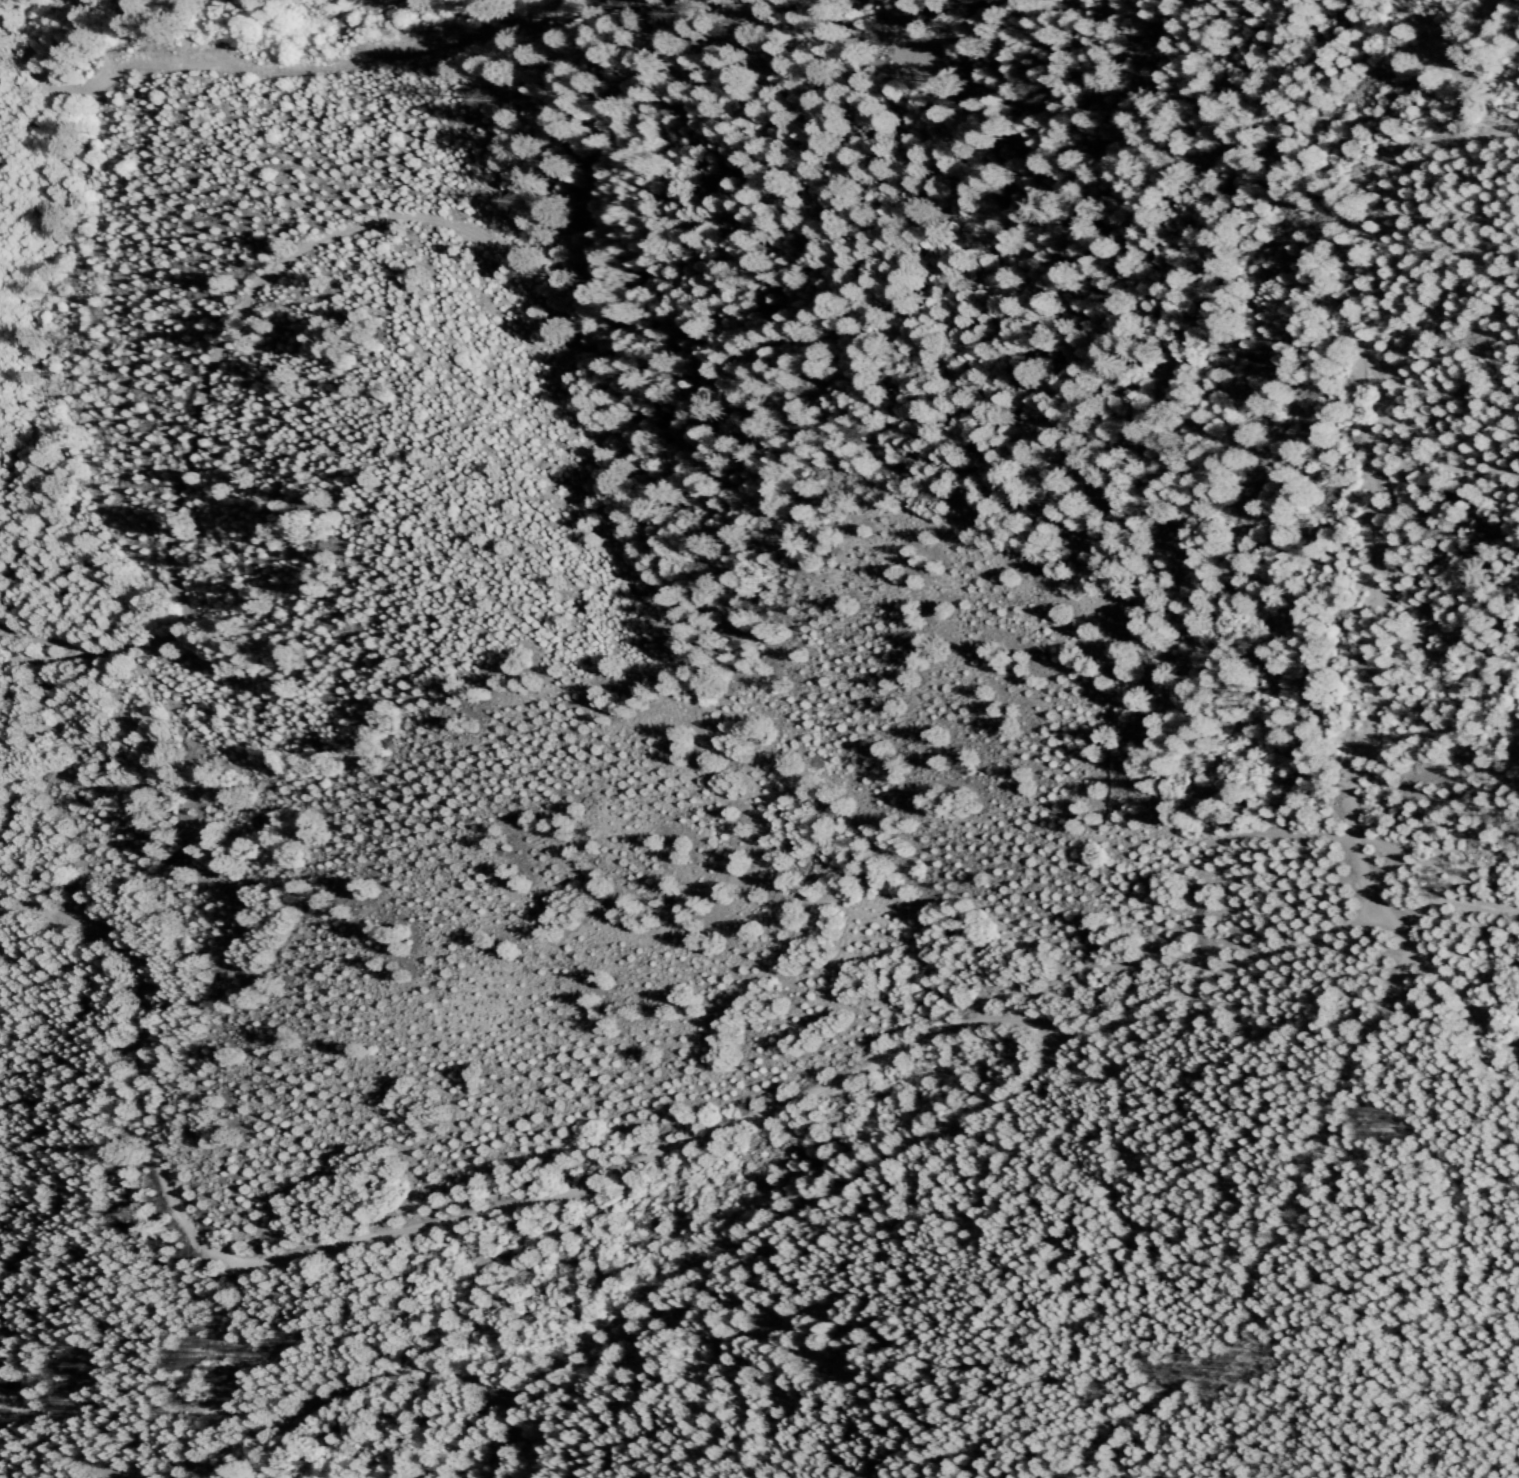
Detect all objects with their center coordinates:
road: (260, 64)
road: (347, 222)
road: (1365, 459)
road: (1308, 934)
road: (419, 1221)
road: (1285, 1239)
road: (716, 1243)

